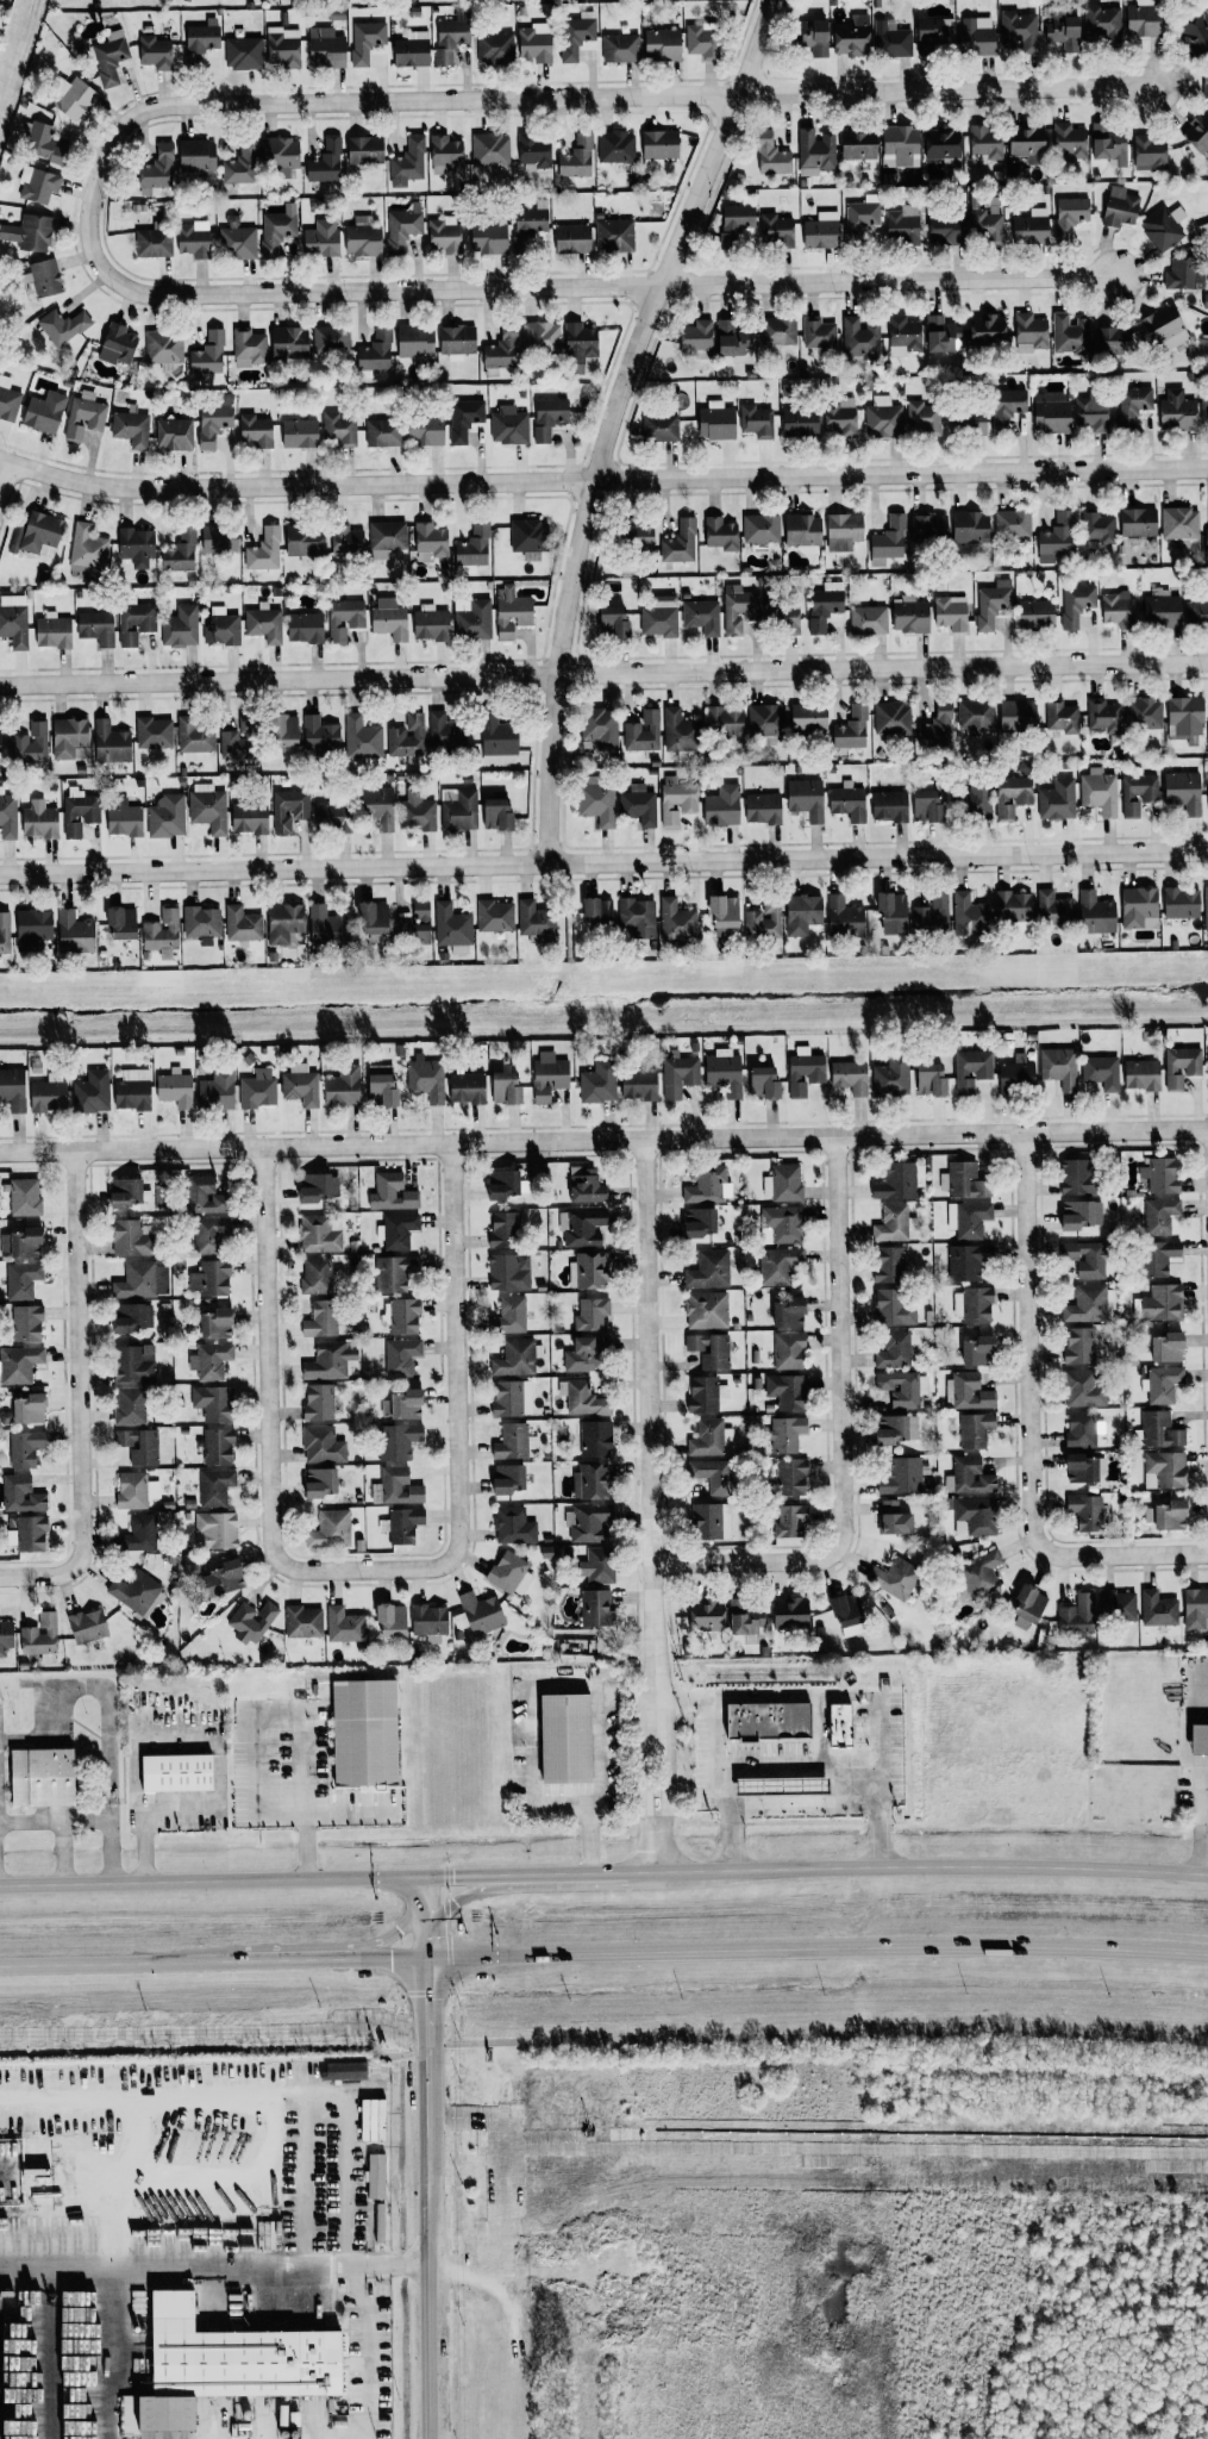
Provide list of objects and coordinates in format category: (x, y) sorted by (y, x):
building: (1144, 19)
building: (1102, 24)
building: (1020, 30)
building: (1064, 32)
building: (1195, 32)
building: (931, 35)
building: (852, 36)
building: (451, 37)
building: (575, 37)
building: (813, 37)
building: (201, 38)
building: (976, 38)
building: (891, 39)
building: (365, 40)
building: (702, 40)
building: (662, 45)
building: (283, 46)
building: (494, 46)
building: (534, 46)
building: (326, 48)
building: (620, 48)
building: (155, 52)
building: (243, 52)
building: (411, 52)
building: (108, 58)
building: (1206, 80)
road: (949, 89)
building: (74, 98)
road: (394, 100)
building: (1197, 132)
building: (1069, 141)
building: (1108, 143)
building: (44, 144)
building: (659, 144)
building: (984, 144)
building: (1027, 144)
building: (858, 145)
building: (900, 145)
building: (944, 145)
building: (616, 146)
building: (490, 149)
building: (364, 150)
building: (534, 152)
building: (814, 152)
building: (1148, 152)
building: (281, 154)
building: (445, 154)
building: (195, 155)
building: (771, 155)
building: (577, 157)
building: (408, 162)
building: (325, 163)
building: (237, 169)
building: (157, 170)
building: (38, 186)
building: (1120, 207)
building: (1070, 216)
building: (862, 217)
building: (738, 218)
building: (532, 219)
building: (902, 225)
building: (985, 226)
building: (1031, 227)
building: (1163, 227)
building: (277, 230)
building: (401, 230)
building: (776, 230)
building: (945, 230)
building: (821, 231)
building: (30, 233)
building: (444, 233)
building: (615, 235)
building: (321, 238)
building: (489, 238)
building: (572, 238)
building: (193, 239)
building: (363, 239)
building: (154, 243)
building: (237, 243)
building: (1185, 274)
building: (45, 277)
road: (888, 281)
road: (332, 292)
building: (62, 326)
building: (1164, 328)
building: (987, 330)
building: (777, 331)
building: (1029, 332)
building: (1070, 333)
building: (819, 335)
building: (939, 335)
building: (903, 336)
building: (696, 337)
building: (540, 338)
building: (860, 338)
building: (331, 339)
building: (1113, 339)
building: (414, 341)
building: (289, 342)
building: (457, 342)
building: (733, 342)
building: (118, 344)
building: (578, 345)
building: (163, 347)
building: (249, 347)
building: (376, 350)
building: (500, 353)
building: (208, 354)
building: (8, 399)
building: (1133, 404)
building: (1007, 407)
building: (1204, 410)
building: (1177, 411)
building: (44, 412)
building: (1051, 412)
building: (1093, 412)
building: (85, 416)
building: (549, 417)
building: (839, 417)
building: (921, 417)
building: (464, 418)
building: (883, 418)
road: (613, 420)
building: (757, 420)
building: (214, 422)
building: (716, 422)
building: (800, 423)
building: (968, 423)
building: (509, 425)
building: (131, 428)
building: (659, 428)
building: (339, 429)
building: (256, 430)
building: (425, 430)
building: (383, 432)
building: (299, 433)
building: (174, 435)
road: (601, 476)
road: (7, 486)
building: (1138, 523)
building: (1179, 523)
building: (1013, 525)
building: (970, 526)
building: (1099, 526)
building: (928, 528)
building: (761, 529)
building: (844, 531)
building: (803, 532)
building: (721, 534)
building: (37, 535)
building: (526, 535)
building: (637, 535)
building: (388, 536)
building: (219, 538)
building: (1056, 538)
building: (345, 539)
building: (1207, 539)
building: (303, 541)
building: (430, 541)
building: (888, 541)
building: (681, 542)
building: (137, 547)
building: (87, 548)
building: (264, 550)
building: (472, 550)
building: (180, 553)
building: (993, 603)
building: (1076, 604)
building: (824, 609)
building: (1118, 609)
building: (1162, 609)
building: (740, 611)
building: (511, 612)
building: (951, 612)
building: (1035, 613)
building: (1196, 613)
building: (909, 615)
building: (659, 617)
building: (701, 617)
building: (783, 617)
building: (344, 618)
building: (389, 618)
building: (14, 620)
building: (474, 620)
building: (868, 620)
building: (613, 622)
building: (136, 623)
building: (264, 623)
building: (430, 624)
building: (181, 626)
building: (96, 628)
building: (305, 628)
building: (220, 629)
building: (52, 631)
road: (603, 674)
building: (1144, 712)
building: (976, 713)
building: (1018, 716)
building: (1103, 716)
building: (808, 717)
building: (893, 717)
building: (1062, 717)
building: (1184, 717)
building: (766, 719)
building: (725, 721)
building: (601, 726)
building: (937, 726)
building: (283, 729)
building: (445, 729)
building: (852, 729)
building: (152, 731)
building: (678, 731)
building: (643, 732)
building: (320, 734)
building: (407, 736)
building: (68, 737)
building: (362, 737)
building: (193, 740)
building: (497, 740)
building: (0, 741)
building: (109, 743)
building: (30, 744)
building: (236, 744)
building: (1183, 791)
building: (1099, 792)
building: (1012, 793)
building: (1138, 793)
building: (806, 799)
building: (976, 799)
building: (1057, 799)
building: (596, 800)
building: (677, 801)
building: (847, 801)
building: (638, 805)
building: (722, 805)
building: (889, 806)
building: (927, 806)
building: (208, 807)
building: (377, 807)
building: (288, 809)
building: (458, 809)
building: (763, 809)
building: (417, 811)
building: (79, 812)
building: (496, 815)
building: (7, 816)
building: (167, 816)
building: (333, 817)
building: (124, 818)
building: (249, 818)
building: (39, 822)
road: (603, 863)
building: (1181, 903)
building: (1013, 906)
building: (1138, 906)
building: (1206, 907)
building: (1054, 909)
building: (596, 910)
building: (724, 911)
building: (891, 912)
building: (802, 913)
building: (1096, 913)
building: (932, 915)
building: (970, 915)
building: (495, 916)
building: (638, 917)
building: (844, 917)
building: (373, 918)
building: (534, 918)
building: (676, 921)
building: (764, 921)
building: (201, 922)
building: (121, 923)
building: (284, 923)
building: (242, 924)
building: (414, 924)
building: (325, 927)
building: (452, 928)
building: (32, 929)
building: (162, 930)
building: (4, 932)
building: (74, 932)
building: (1181, 1066)
building: (1059, 1067)
building: (971, 1069)
building: (805, 1071)
building: (1101, 1072)
building: (725, 1074)
building: (1141, 1074)
building: (549, 1075)
building: (678, 1075)
building: (850, 1077)
building: (891, 1077)
building: (1016, 1077)
building: (426, 1078)
building: (930, 1079)
building: (597, 1084)
building: (639, 1084)
building: (763, 1084)
building: (300, 1085)
building: (343, 1086)
building: (383, 1086)
building: (467, 1087)
building: (505, 1087)
building: (13, 1088)
building: (175, 1088)
building: (257, 1088)
building: (132, 1090)
building: (217, 1091)
building: (92, 1092)
building: (49, 1094)
road: (644, 1141)
road: (40, 1154)
building: (1159, 1174)
building: (1076, 1178)
building: (897, 1181)
building: (966, 1181)
building: (783, 1183)
building: (503, 1184)
building: (705, 1185)
building: (318, 1187)
building: (586, 1189)
building: (129, 1192)
building: (392, 1192)
building: (204, 1196)
building: (24, 1197)
building: (1081, 1215)
building: (1159, 1216)
building: (968, 1218)
building: (700, 1222)
building: (783, 1223)
building: (891, 1223)
building: (581, 1227)
building: (396, 1230)
building: (505, 1230)
building: (209, 1234)
building: (319, 1235)
building: (130, 1239)
building: (21, 1242)
building: (1085, 1258)
building: (1158, 1258)
building: (964, 1264)
building: (778, 1265)
building: (709, 1270)
building: (586, 1271)
building: (509, 1272)
building: (390, 1274)
building: (317, 1275)
building: (211, 1278)
building: (21, 1280)
building: (136, 1281)
building: (891, 1289)
building: (1163, 1303)
building: (1087, 1304)
building: (974, 1305)
building: (706, 1310)
building: (789, 1312)
building: (590, 1314)
building: (509, 1316)
building: (131, 1317)
building: (321, 1320)
building: (26, 1323)
building: (217, 1324)
road: (453, 1345)
building: (1079, 1345)
building: (1166, 1347)
building: (709, 1349)
building: (788, 1351)
building: (894, 1351)
building: (976, 1351)
building: (582, 1355)
building: (401, 1356)
building: (515, 1358)
building: (330, 1360)
building: (211, 1361)
building: (19, 1364)
building: (133, 1364)
road: (271, 1370)
building: (1162, 1384)
building: (1083, 1389)
building: (787, 1391)
building: (968, 1391)
building: (706, 1393)
building: (512, 1398)
road: (82, 1399)
building: (586, 1399)
building: (319, 1402)
building: (213, 1403)
building: (130, 1405)
building: (402, 1405)
building: (29, 1409)
road: (1033, 1424)
building: (896, 1429)
building: (1082, 1429)
building: (975, 1430)
building: (1160, 1430)
building: (785, 1434)
building: (707, 1437)
road: (843, 1440)
building: (399, 1441)
building: (513, 1442)
building: (139, 1446)
building: (218, 1446)
building: (323, 1446)
building: (25, 1448)
building: (1081, 1468)
building: (1164, 1470)
building: (713, 1476)
building: (901, 1476)
building: (790, 1477)
building: (971, 1477)
building: (508, 1479)
building: (590, 1482)
building: (321, 1483)
building: (399, 1486)
building: (215, 1487)
building: (136, 1490)
building: (21, 1495)
road: (652, 1507)
building: (1085, 1511)
building: (1170, 1515)
building: (976, 1516)
building: (894, 1518)
building: (711, 1521)
building: (586, 1522)
building: (790, 1522)
building: (405, 1526)
building: (513, 1526)
building: (215, 1530)
building: (330, 1530)
building: (140, 1533)
building: (31, 1534)
building: (597, 1566)
road: (387, 1570)
building: (981, 1573)
building: (511, 1574)
building: (894, 1578)
building: (134, 1591)
building: (1027, 1607)
building: (1118, 1607)
building: (596, 1608)
building: (1195, 1608)
building: (1158, 1609)
building: (707, 1613)
building: (478, 1614)
building: (790, 1614)
building: (847, 1615)
building: (1077, 1615)
building: (745, 1617)
building: (392, 1620)
building: (251, 1621)
building: (303, 1622)
building: (430, 1622)
building: (88, 1626)
building: (344, 1626)
building: (40, 1635)
building: (6, 1636)
road: (1207, 1665)
road: (93, 1684)
road: (856, 1692)
building: (768, 1721)
building: (839, 1726)
road: (255, 1727)
road: (815, 1730)
building: (364, 1734)
building: (565, 1739)
building: (1198, 1739)
road: (797, 1767)
building: (176, 1772)
building: (42, 1777)
building: (781, 1786)
road: (716, 1788)
road: (807, 1805)
road: (88, 1817)
road: (155, 1821)
road: (1203, 1829)
road: (62, 1852)
road: (916, 1867)
road: (569, 1875)
road: (468, 1876)
traffic signals: (453, 1877)
road: (212, 1882)
road: (465, 1896)
traffic signals: (456, 1901)
road: (426, 1917)
traffic signals: (398, 1929)
road: (380, 1936)
road: (766, 1951)
traffic signals: (390, 1959)
road: (274, 1960)
road: (111, 1964)
traffic signals: (428, 1998)
road: (428, 2015)
road: (601, 2040)
building: (344, 2071)
road: (256, 2092)
building: (375, 2176)
building: (380, 2223)
road: (431, 2254)
road: (215, 2264)
road: (367, 2347)
building: (223, 2366)
building: (81, 2427)

